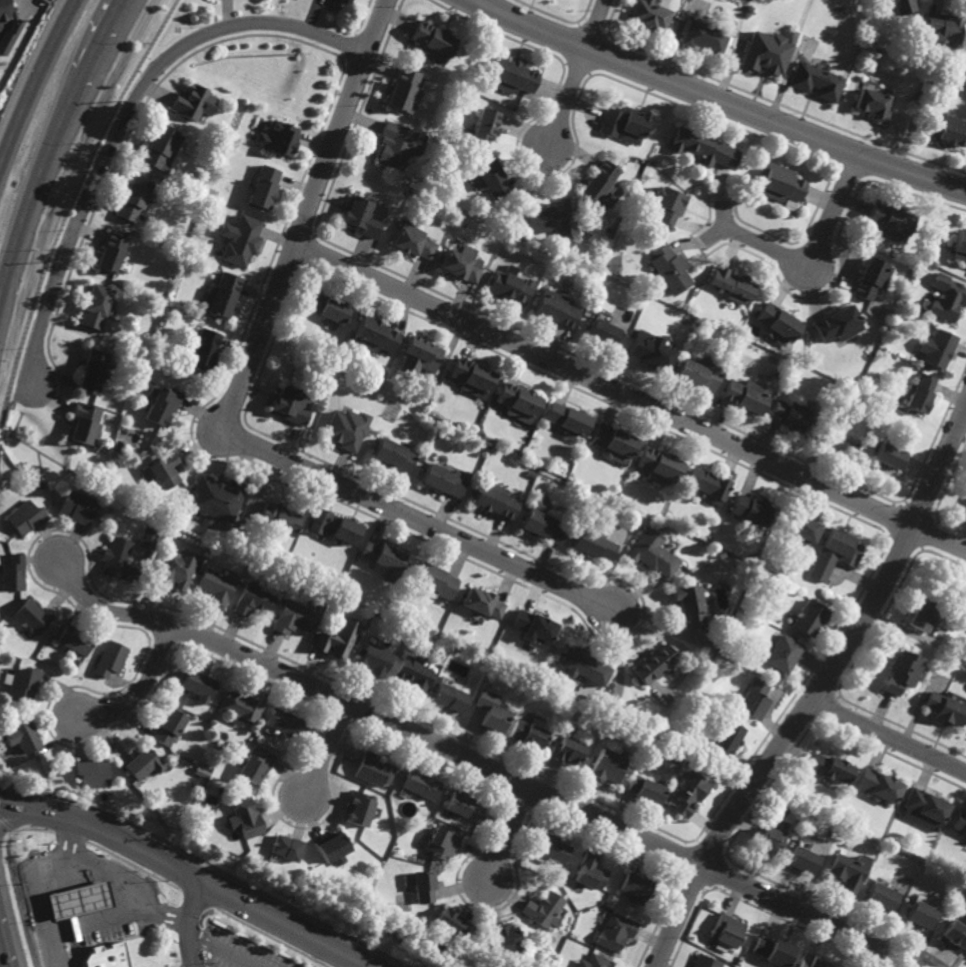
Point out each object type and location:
building: (344, 1)
building: (902, 6)
building: (647, 15)
building: (15, 28)
building: (941, 28)
building: (703, 37)
building: (432, 41)
building: (764, 53)
road: (576, 71)
building: (513, 77)
road: (34, 78)
building: (813, 80)
building: (404, 91)
road: (720, 100)
building: (194, 102)
building: (871, 105)
road: (125, 116)
building: (624, 124)
building: (483, 126)
building: (945, 131)
building: (278, 137)
road: (52, 141)
building: (398, 144)
building: (702, 147)
building: (161, 148)
building: (488, 174)
building: (777, 182)
building: (598, 183)
building: (263, 187)
building: (133, 199)
building: (668, 204)
building: (363, 215)
building: (553, 218)
building: (890, 220)
building: (240, 239)
building: (414, 241)
building: (959, 244)
building: (110, 252)
road: (814, 252)
building: (462, 263)
building: (670, 269)
building: (869, 278)
building: (731, 284)
building: (509, 287)
building: (222, 295)
building: (946, 295)
building: (95, 307)
building: (328, 308)
building: (555, 308)
building: (776, 323)
building: (837, 324)
building: (601, 333)
building: (374, 336)
building: (935, 349)
building: (202, 350)
building: (648, 350)
building: (420, 357)
building: (92, 372)
building: (695, 375)
building: (472, 378)
building: (920, 392)
building: (744, 396)
road: (630, 397)
building: (518, 402)
building: (290, 404)
building: (163, 406)
road: (231, 413)
building: (789, 415)
building: (566, 421)
building: (84, 423)
building: (346, 428)
building: (613, 443)
building: (841, 443)
building: (393, 455)
building: (888, 456)
building: (659, 466)
building: (162, 469)
building: (443, 480)
building: (707, 484)
building: (216, 497)
building: (494, 499)
building: (76, 506)
building: (749, 510)
building: (26, 516)
building: (277, 520)
building: (542, 523)
building: (333, 525)
building: (800, 529)
building: (148, 537)
building: (591, 543)
building: (835, 553)
building: (651, 554)
building: (384, 556)
building: (117, 559)
building: (177, 569)
building: (13, 573)
building: (434, 580)
building: (216, 586)
building: (255, 600)
building: (481, 603)
building: (690, 606)
building: (965, 612)
building: (921, 613)
building: (32, 617)
building: (294, 617)
building: (809, 618)
building: (534, 628)
building: (336, 637)
building: (74, 638)
building: (782, 654)
building: (111, 658)
building: (372, 659)
building: (653, 663)
building: (581, 664)
building: (900, 671)
building: (412, 673)
building: (21, 684)
building: (199, 685)
road: (141, 691)
road: (818, 693)
building: (449, 697)
building: (753, 699)
building: (240, 707)
building: (944, 708)
building: (490, 710)
building: (286, 721)
building: (168, 727)
building: (528, 733)
building: (21, 735)
road: (889, 736)
building: (727, 738)
road: (325, 750)
building: (566, 750)
building: (143, 763)
road: (480, 763)
building: (607, 765)
building: (255, 766)
building: (830, 767)
building: (372, 769)
building: (92, 772)
building: (420, 785)
building: (878, 785)
building: (646, 789)
building: (689, 792)
building: (465, 807)
building: (359, 808)
building: (925, 809)
building: (244, 817)
building: (959, 823)
road: (505, 833)
building: (770, 841)
building: (440, 844)
building: (286, 847)
building: (331, 847)
building: (552, 847)
building: (803, 861)
building: (847, 870)
building: (588, 871)
road: (190, 873)
road: (116, 878)
road: (27, 879)
building: (422, 885)
building: (633, 888)
building: (880, 896)
building: (80, 902)
building: (542, 909)
building: (919, 912)
road: (189, 922)
building: (450, 923)
road: (93, 924)
building: (727, 930)
building: (614, 931)
building: (954, 934)
building: (503, 936)
road: (224, 950)
building: (774, 951)
road: (44, 952)
road: (867, 955)
building: (107, 957)
gas station: (107, 957)
road: (1, 960)
building: (810, 961)
building: (593, 962)
building: (704, 962)

